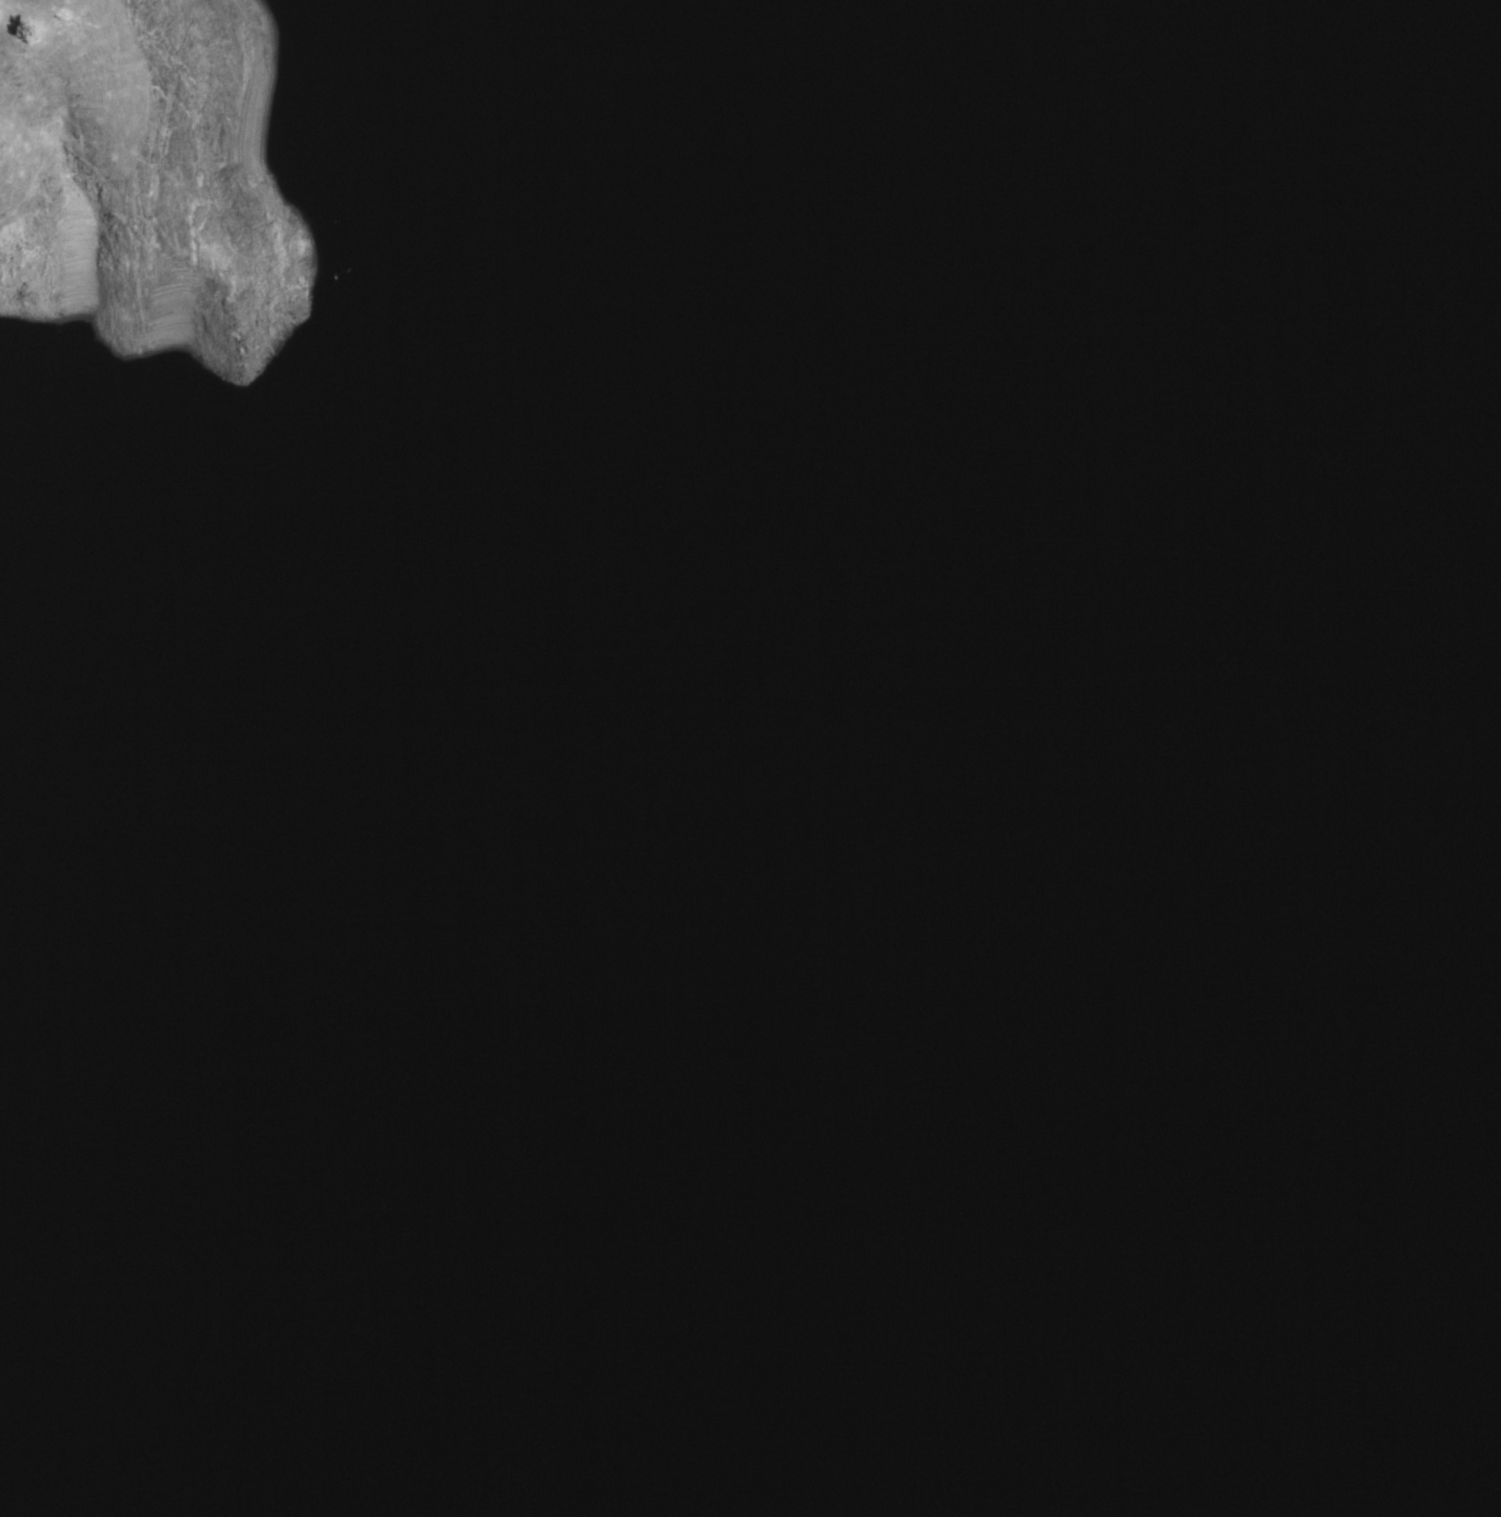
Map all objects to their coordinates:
park: (755, 763)
river: (689, 937)

